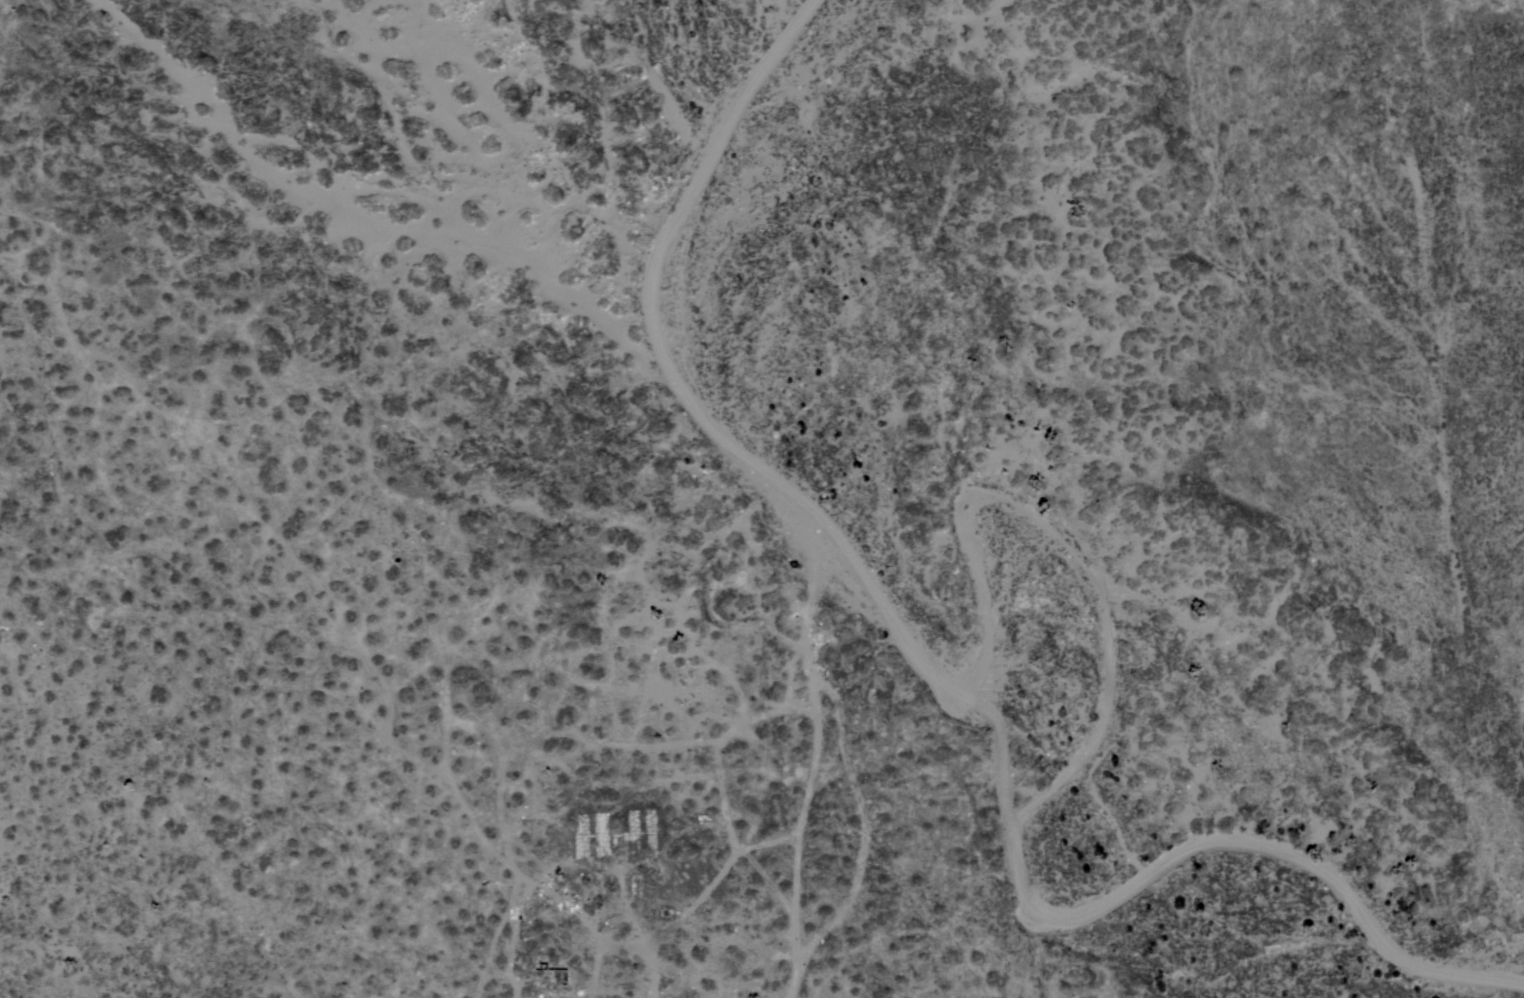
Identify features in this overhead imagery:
road: (769, 479)
road: (636, 803)
road: (1100, 905)
road: (603, 987)

